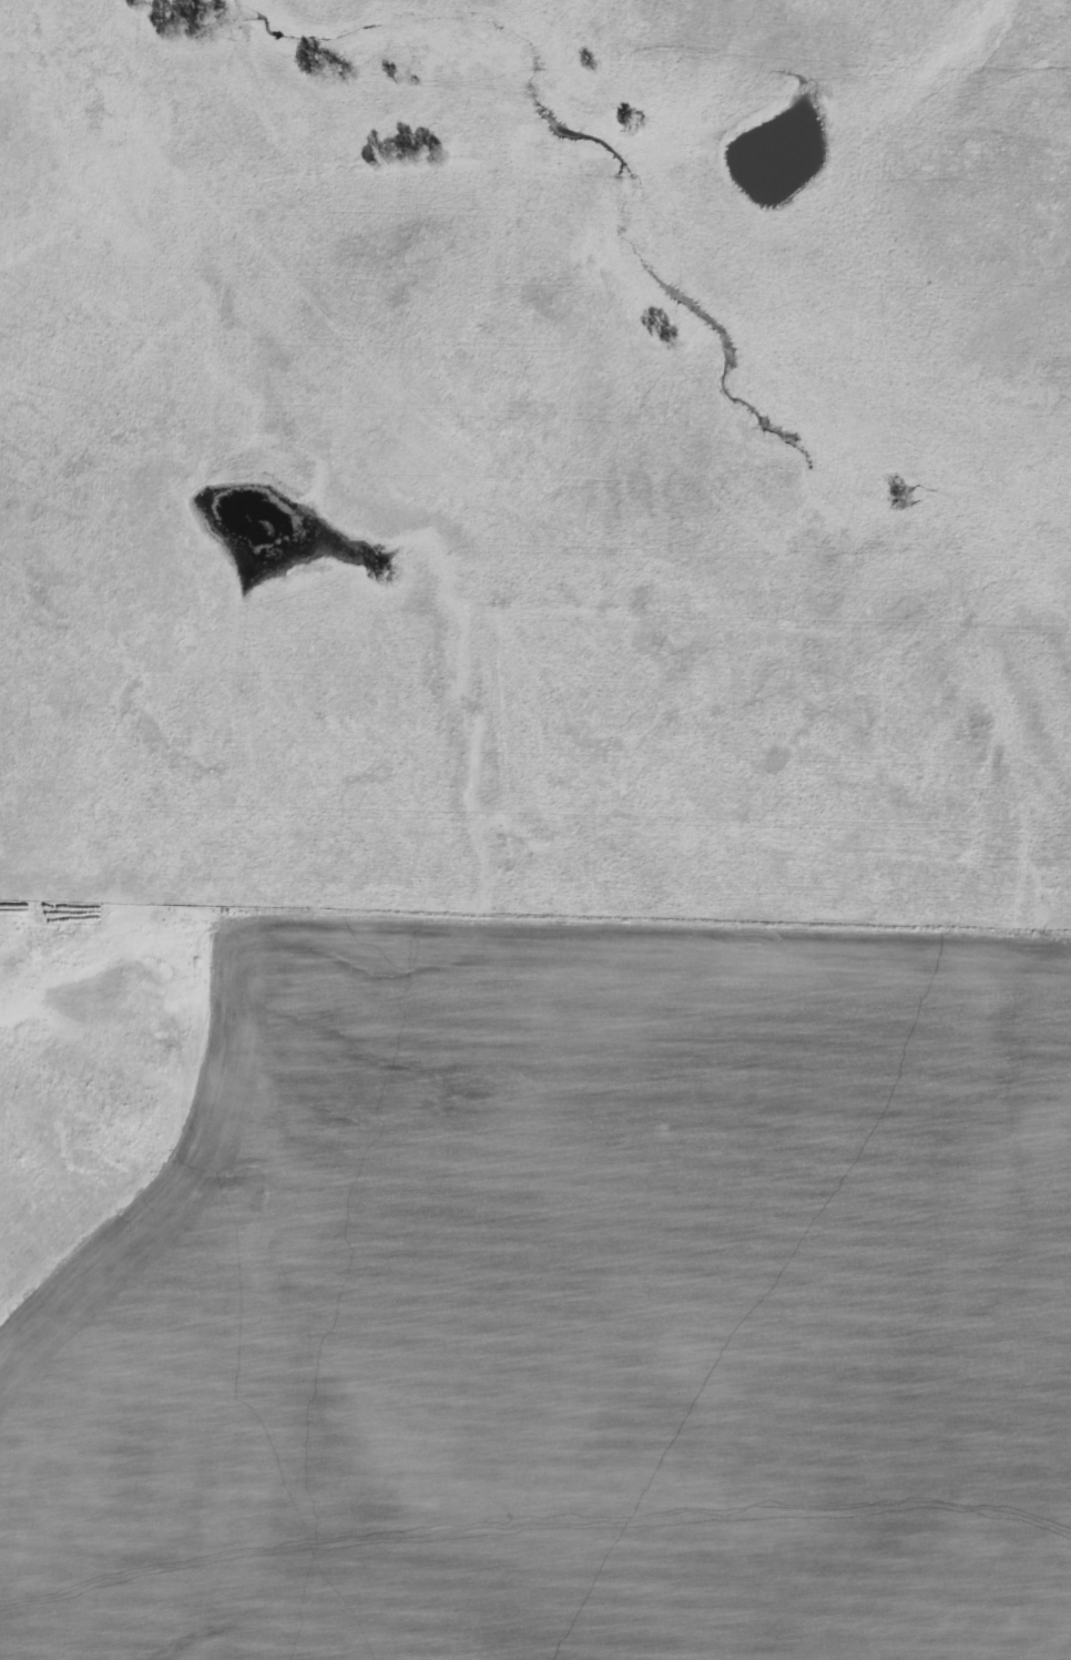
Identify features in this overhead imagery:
crop: (571, 1297)

